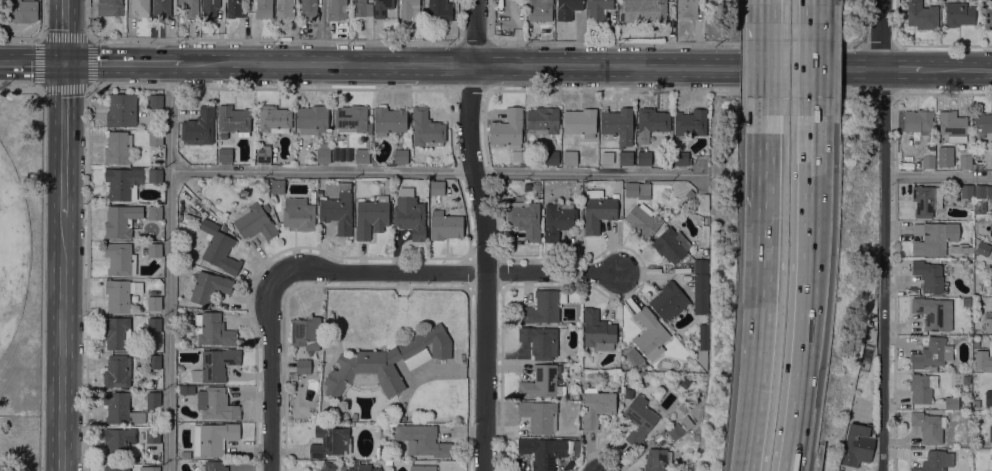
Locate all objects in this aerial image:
building: (439, 3)
building: (110, 7)
building: (189, 7)
building: (382, 7)
building: (139, 8)
building: (161, 8)
building: (210, 8)
building: (234, 8)
building: (263, 8)
building: (361, 8)
building: (567, 8)
building: (597, 8)
building: (284, 9)
building: (309, 9)
building: (337, 9)
building: (410, 9)
building: (687, 9)
building: (19, 10)
building: (539, 10)
building: (645, 10)
road: (770, 11)
road: (809, 11)
building: (440, 13)
building: (958, 14)
building: (921, 15)
building: (988, 18)
road: (65, 30)
road: (878, 34)
road: (39, 37)
road: (40, 39)
road: (32, 61)
traffic signals: (64, 61)
road: (123, 61)
road: (533, 64)
road: (904, 68)
road: (958, 68)
road: (769, 78)
road: (808, 79)
road: (468, 90)
road: (680, 92)
road: (885, 93)
road: (943, 93)
road: (87, 96)
building: (153, 101)
building: (122, 110)
building: (312, 118)
building: (275, 119)
building: (350, 119)
building: (543, 119)
building: (232, 120)
building: (389, 120)
building: (652, 120)
building: (580, 121)
building: (917, 121)
building: (983, 121)
building: (689, 123)
building: (617, 125)
building: (952, 126)
building: (199, 127)
building: (426, 128)
building: (508, 128)
road: (63, 138)
building: (155, 138)
building: (118, 147)
building: (323, 152)
building: (225, 154)
building: (263, 154)
building: (399, 154)
building: (362, 156)
building: (607, 156)
building: (552, 157)
building: (570, 157)
building: (681, 157)
building: (626, 158)
building: (644, 158)
building: (928, 160)
building: (967, 160)
road: (807, 168)
road: (436, 170)
building: (155, 175)
road: (937, 176)
building: (123, 182)
building: (277, 186)
building: (536, 186)
building: (436, 187)
building: (637, 189)
building: (966, 191)
building: (926, 200)
building: (981, 200)
building: (970, 202)
building: (598, 209)
building: (338, 210)
road: (768, 212)
building: (155, 213)
building: (298, 214)
building: (410, 214)
building: (372, 216)
building: (525, 218)
building: (558, 219)
building: (121, 220)
building: (643, 220)
building: (706, 220)
building: (255, 222)
building: (444, 225)
road: (485, 234)
building: (933, 237)
building: (671, 245)
building: (219, 247)
building: (961, 248)
building: (982, 248)
park: (12, 250)
building: (153, 250)
road: (41, 259)
building: (120, 259)
road: (168, 266)
building: (701, 266)
road: (882, 269)
road: (383, 270)
road: (552, 271)
building: (929, 276)
building: (991, 285)
building: (208, 286)
building: (121, 294)
building: (700, 294)
building: (669, 301)
building: (154, 303)
building: (963, 303)
building: (542, 307)
building: (929, 312)
building: (988, 321)
building: (154, 324)
building: (213, 329)
building: (597, 330)
building: (116, 332)
building: (305, 332)
building: (649, 334)
road: (803, 336)
building: (540, 341)
road: (60, 343)
building: (701, 346)
building: (930, 353)
building: (636, 358)
building: (154, 362)
building: (386, 362)
building: (215, 365)
building: (985, 365)
building: (303, 366)
building: (117, 371)
road: (270, 371)
building: (976, 376)
road: (759, 380)
building: (543, 382)
building: (922, 387)
building: (186, 389)
building: (575, 394)
building: (975, 394)
building: (988, 397)
building: (153, 399)
building: (695, 400)
building: (951, 402)
building: (216, 403)
building: (596, 406)
building: (121, 409)
building: (539, 415)
building: (353, 416)
building: (400, 417)
building: (638, 419)
building: (686, 421)
building: (928, 426)
building: (990, 428)
building: (675, 430)
building: (152, 435)
building: (695, 437)
building: (213, 438)
building: (422, 439)
building: (330, 441)
building: (118, 443)
building: (858, 444)
building: (575, 447)
building: (542, 451)
building: (186, 454)
building: (657, 460)
building: (935, 461)
building: (990, 464)
building: (213, 465)
building: (327, 466)
building: (116, 468)
building: (150, 468)
building: (364, 468)
building: (422, 468)

